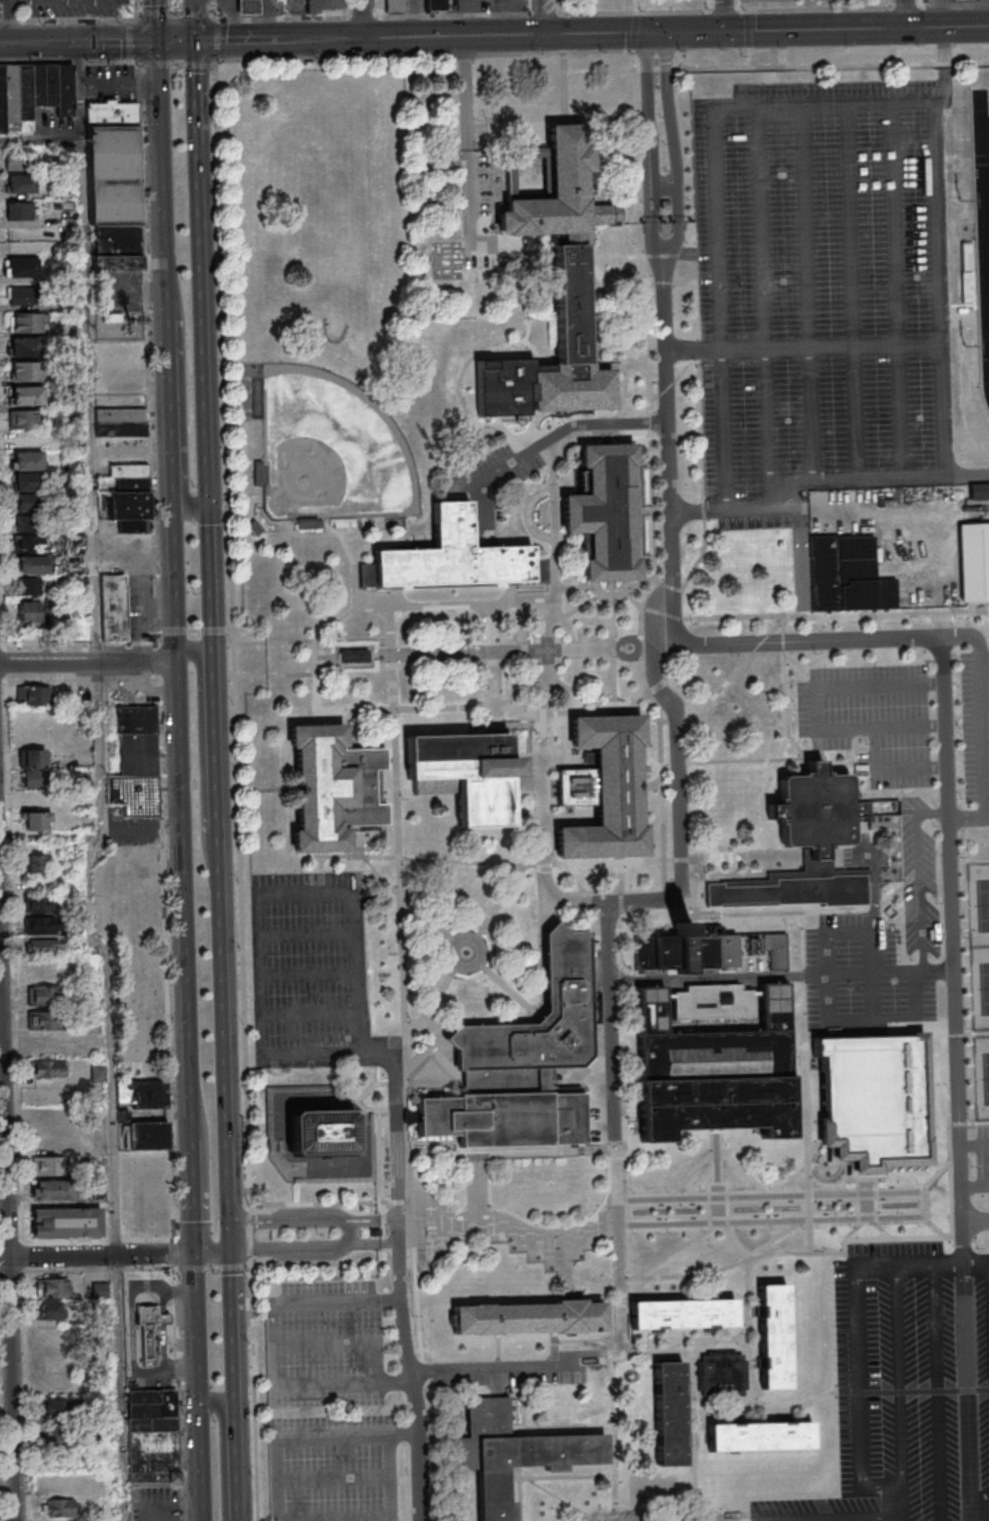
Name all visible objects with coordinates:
road: (51, 0)
building: (963, 0)
road: (890, 3)
park: (777, 4)
building: (324, 5)
building: (391, 5)
parking lot: (413, 5)
building: (435, 5)
parking lot: (486, 5)
road: (737, 5)
road: (136, 6)
building: (251, 6)
parking lot: (64, 7)
road: (177, 11)
road: (154, 12)
road: (214, 12)
road: (600, 12)
road: (195, 13)
road: (906, 13)
road: (197, 14)
road: (725, 15)
road: (544, 17)
road: (162, 19)
road: (363, 19)
road: (71, 20)
road: (13, 21)
road: (925, 26)
road: (747, 29)
road: (818, 29)
road: (634, 31)
traffic signals: (726, 31)
traffic signals: (643, 32)
road: (196, 33)
road: (553, 33)
traffic signals: (665, 33)
road: (263, 39)
road: (132, 40)
traffic signals: (163, 40)
road: (179, 40)
road: (221, 40)
traffic signals: (196, 41)
road: (113, 42)
road: (31, 43)
road: (761, 47)
road: (548, 53)
road: (892, 54)
road: (945, 54)
road: (341, 57)
road: (71, 62)
road: (157, 62)
road: (177, 63)
road: (199, 65)
road: (775, 66)
parking lot: (114, 83)
building: (52, 87)
road: (563, 89)
building: (24, 92)
building: (10, 97)
building: (2, 101)
building: (111, 114)
road: (550, 118)
road: (715, 121)
road: (42, 139)
road: (648, 152)
road: (674, 152)
building: (18, 160)
road: (469, 164)
building: (113, 175)
road: (168, 178)
building: (19, 182)
building: (556, 192)
parking lot: (483, 202)
building: (18, 210)
track: (983, 222)
building: (114, 239)
road: (522, 250)
road: (976, 252)
building: (115, 262)
building: (22, 267)
road: (651, 282)
road: (203, 283)
road: (895, 290)
road: (851, 291)
road: (806, 293)
building: (24, 295)
parking lot: (824, 297)
building: (570, 302)
road: (527, 304)
road: (763, 306)
road: (961, 319)
building: (26, 321)
road: (616, 332)
road: (831, 345)
building: (26, 346)
road: (694, 351)
road: (147, 354)
road: (643, 364)
building: (26, 371)
road: (670, 383)
road: (459, 392)
building: (27, 394)
road: (944, 406)
road: (174, 410)
building: (120, 415)
building: (22, 418)
road: (723, 428)
building: (120, 429)
road: (570, 436)
building: (26, 440)
road: (544, 443)
park: (331, 448)
building: (28, 460)
road: (651, 462)
building: (128, 470)
building: (259, 472)
road: (968, 474)
building: (30, 481)
building: (132, 484)
road: (701, 487)
road: (246, 499)
road: (504, 499)
building: (29, 502)
building: (124, 505)
traffic signals: (210, 509)
road: (653, 509)
road: (688, 510)
road: (638, 511)
road: (922, 511)
building: (605, 512)
road: (523, 514)
building: (29, 522)
building: (310, 523)
building: (133, 526)
road: (322, 532)
building: (28, 543)
building: (76, 544)
building: (452, 558)
road: (799, 561)
building: (31, 564)
building: (849, 576)
building: (27, 585)
road: (606, 594)
road: (467, 604)
building: (112, 607)
road: (573, 608)
building: (27, 611)
road: (802, 616)
road: (878, 626)
road: (828, 628)
road: (175, 630)
road: (195, 630)
road: (215, 630)
road: (232, 630)
road: (812, 641)
road: (77, 642)
road: (272, 642)
road: (611, 645)
road: (641, 647)
road: (648, 647)
road: (617, 648)
road: (985, 649)
road: (492, 651)
building: (352, 655)
road: (335, 656)
road: (326, 657)
road: (156, 662)
road: (91, 663)
road: (489, 666)
road: (799, 671)
road: (274, 675)
road: (78, 679)
road: (655, 686)
road: (785, 690)
road: (574, 692)
building: (33, 695)
road: (429, 708)
road: (814, 708)
building: (136, 719)
parking lot: (873, 720)
road: (509, 724)
road: (536, 724)
road: (346, 725)
road: (685, 727)
road: (678, 729)
parking lot: (976, 736)
road: (527, 741)
road: (984, 742)
road: (818, 744)
building: (137, 754)
road: (539, 754)
road: (752, 760)
road: (205, 764)
building: (33, 767)
road: (890, 767)
building: (467, 775)
road: (104, 782)
road: (651, 784)
building: (332, 789)
road: (266, 790)
building: (609, 791)
building: (133, 794)
road: (763, 795)
road: (552, 817)
building: (35, 820)
road: (904, 824)
road: (186, 826)
road: (892, 834)
road: (220, 840)
building: (807, 848)
parking lot: (918, 860)
building: (35, 863)
road: (976, 863)
road: (539, 864)
road: (356, 867)
road: (539, 873)
road: (873, 874)
road: (919, 877)
road: (694, 886)
road: (427, 888)
road: (899, 888)
road: (583, 891)
road: (260, 898)
road: (405, 900)
road: (501, 901)
building: (39, 903)
road: (817, 907)
road: (750, 913)
road: (619, 919)
road: (880, 919)
building: (39, 924)
road: (165, 928)
road: (952, 929)
road: (465, 933)
road: (308, 935)
building: (40, 946)
fountain: (467, 951)
building: (687, 952)
building: (776, 952)
parking lot: (312, 969)
road: (966, 971)
road: (889, 972)
road: (309, 973)
road: (874, 977)
road: (717, 978)
road: (403, 979)
park: (980, 984)
road: (508, 989)
building: (42, 996)
road: (438, 997)
road: (15, 998)
road: (310, 1011)
road: (915, 1015)
building: (43, 1020)
road: (611, 1020)
road: (797, 1023)
road: (916, 1024)
road: (895, 1032)
road: (426, 1048)
road: (621, 1056)
building: (716, 1064)
building: (523, 1065)
building: (47, 1068)
building: (97, 1073)
road: (350, 1076)
road: (806, 1082)
road: (389, 1083)
building: (141, 1093)
building: (875, 1102)
road: (800, 1106)
road: (387, 1109)
road: (631, 1110)
road: (968, 1123)
road: (814, 1127)
building: (140, 1133)
building: (322, 1133)
road: (615, 1144)
road: (975, 1146)
road: (601, 1148)
road: (486, 1150)
road: (716, 1153)
parking lot: (983, 1159)
road: (379, 1163)
road: (820, 1164)
building: (47, 1165)
road: (208, 1172)
road: (718, 1175)
road: (975, 1186)
road: (230, 1188)
building: (47, 1190)
road: (478, 1190)
road: (791, 1194)
road: (622, 1195)
road: (867, 1195)
road: (198, 1202)
road: (324, 1202)
road: (173, 1208)
road: (624, 1211)
road: (924, 1217)
road: (314, 1219)
road: (976, 1221)
building: (65, 1222)
traffic signals: (231, 1222)
road: (661, 1223)
road: (879, 1226)
road: (800, 1227)
road: (854, 1228)
road: (350, 1231)
road: (248, 1235)
road: (231, 1236)
road: (951, 1236)
road: (732, 1237)
road: (98, 1239)
road: (11, 1241)
road: (964, 1241)
road: (315, 1246)
road: (9, 1248)
road: (676, 1250)
traffic signals: (232, 1251)
road: (174, 1254)
traffic signals: (200, 1254)
road: (99, 1255)
road: (976, 1261)
road: (249, 1262)
road: (891, 1263)
road: (317, 1265)
road: (212, 1268)
road: (100, 1269)
road: (12, 1270)
road: (689, 1275)
road: (399, 1276)
building: (51, 1287)
road: (725, 1287)
building: (99, 1290)
road: (746, 1297)
road: (390, 1299)
building: (49, 1309)
road: (619, 1311)
building: (683, 1316)
building: (532, 1318)
building: (146, 1327)
road: (135, 1328)
road: (201, 1328)
building: (774, 1338)
road: (586, 1339)
road: (345, 1341)
parking lot: (325, 1345)
road: (274, 1347)
road: (498, 1352)
road: (590, 1359)
road: (496, 1370)
parking lot: (511, 1374)
building: (721, 1376)
road: (898, 1376)
road: (398, 1378)
road: (236, 1385)
parking lot: (908, 1386)
road: (839, 1390)
road: (939, 1391)
road: (253, 1393)
road: (179, 1395)
traffic signals: (204, 1403)
building: (62, 1408)
building: (671, 1415)
road: (561, 1428)
road: (612, 1428)
road: (694, 1432)
building: (152, 1435)
road: (309, 1437)
building: (761, 1438)
road: (227, 1452)
building: (515, 1454)
building: (57, 1456)
road: (205, 1462)
parking lot: (334, 1468)
road: (391, 1477)
road: (545, 1477)
road: (334, 1479)
road: (0, 1492)
road: (560, 1499)
road: (980, 1502)
parking lot: (157, 1503)
building: (59, 1508)
road: (334, 1519)
road: (856, 1520)

